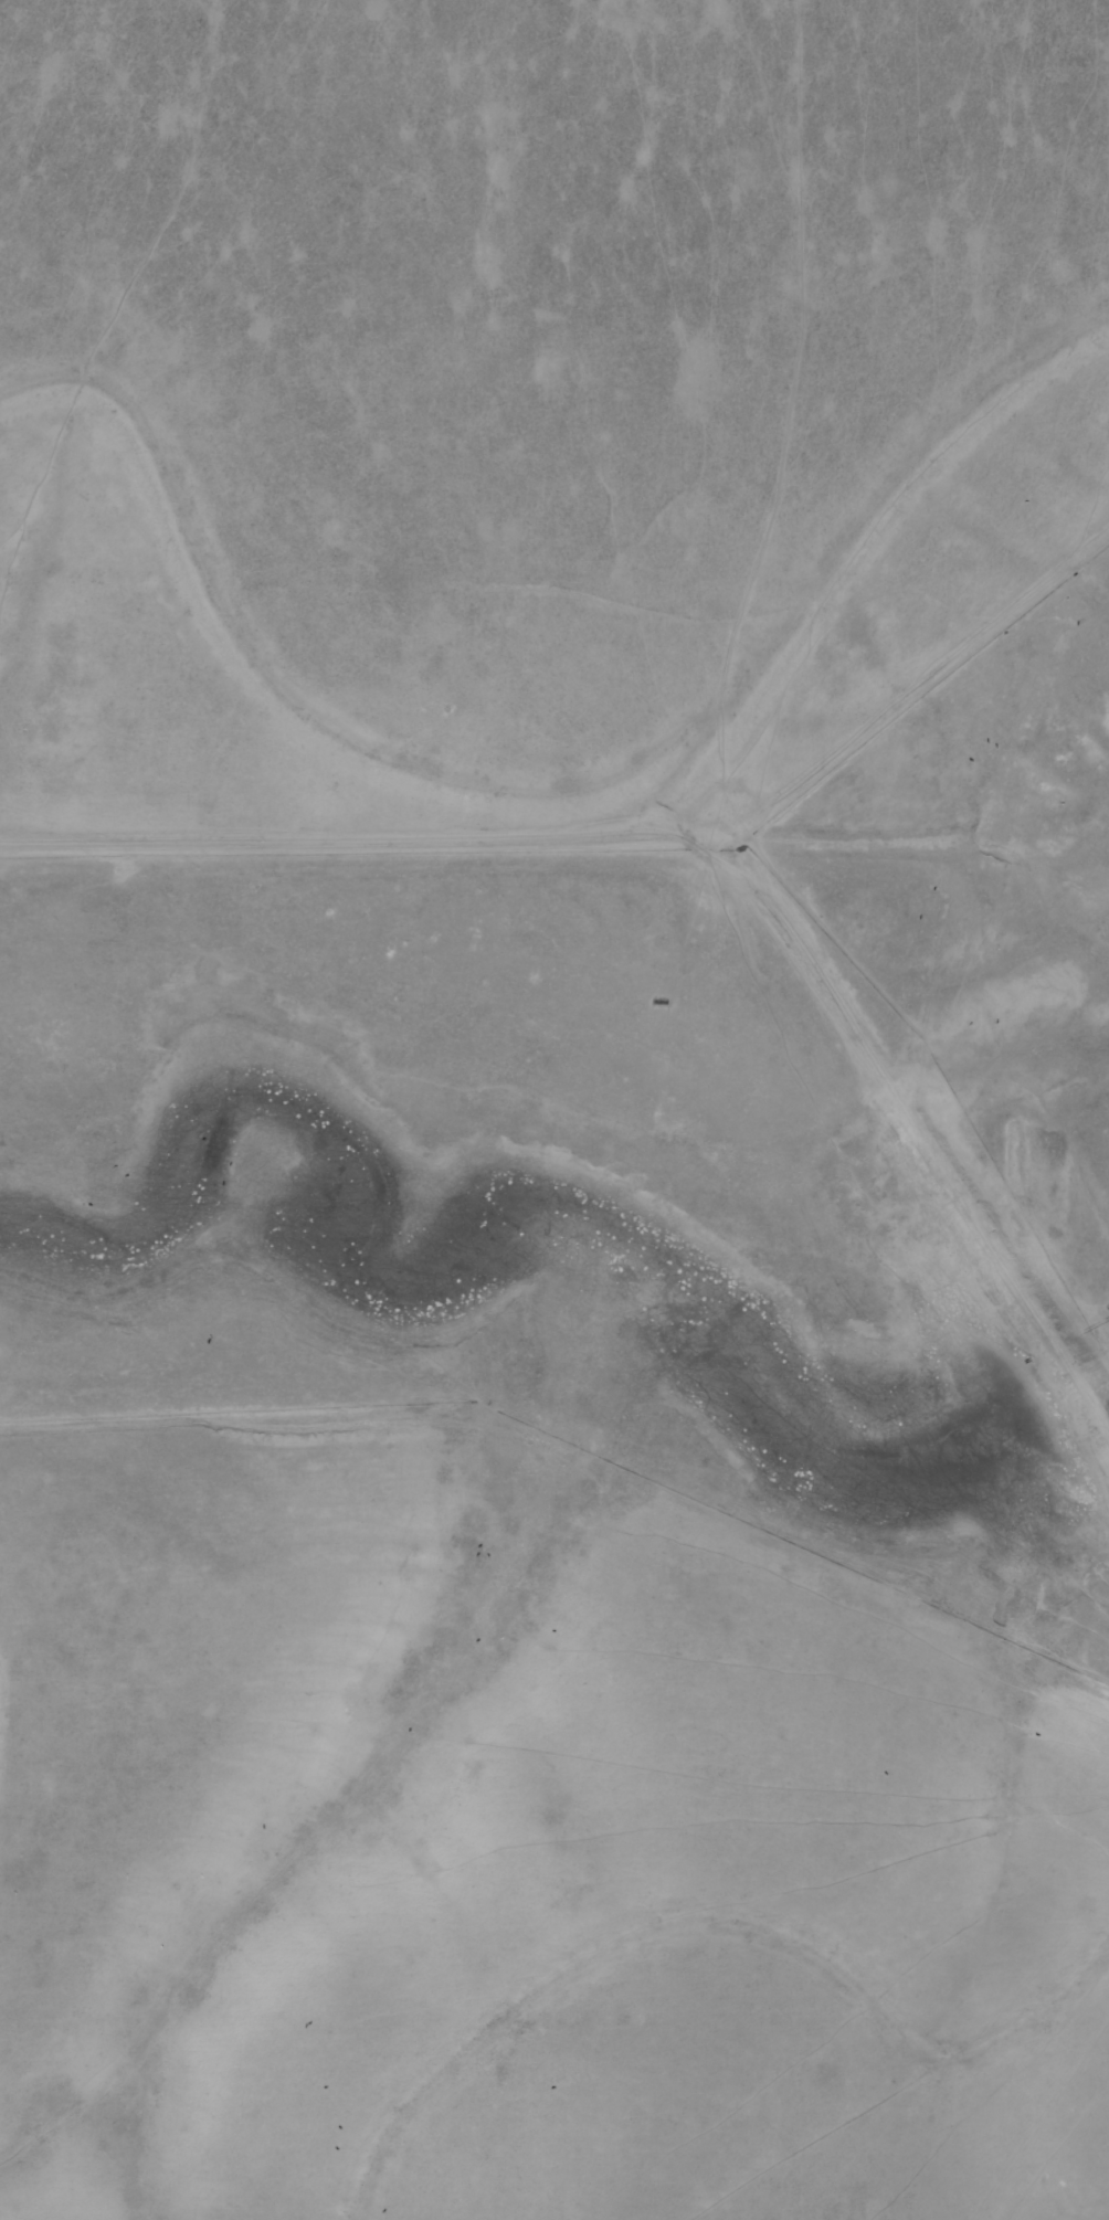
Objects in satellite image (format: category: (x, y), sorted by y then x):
road: (493, 881)
road: (989, 955)

